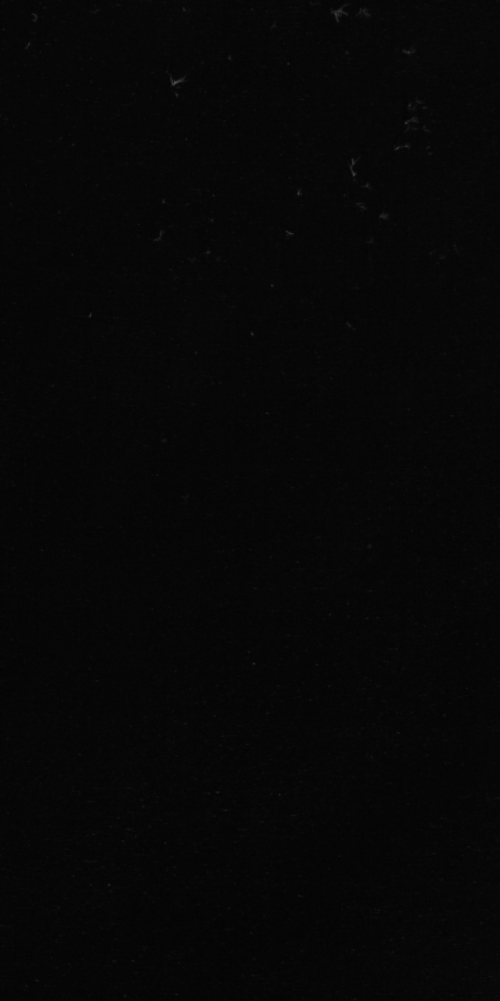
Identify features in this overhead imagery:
building: (249, 498)

